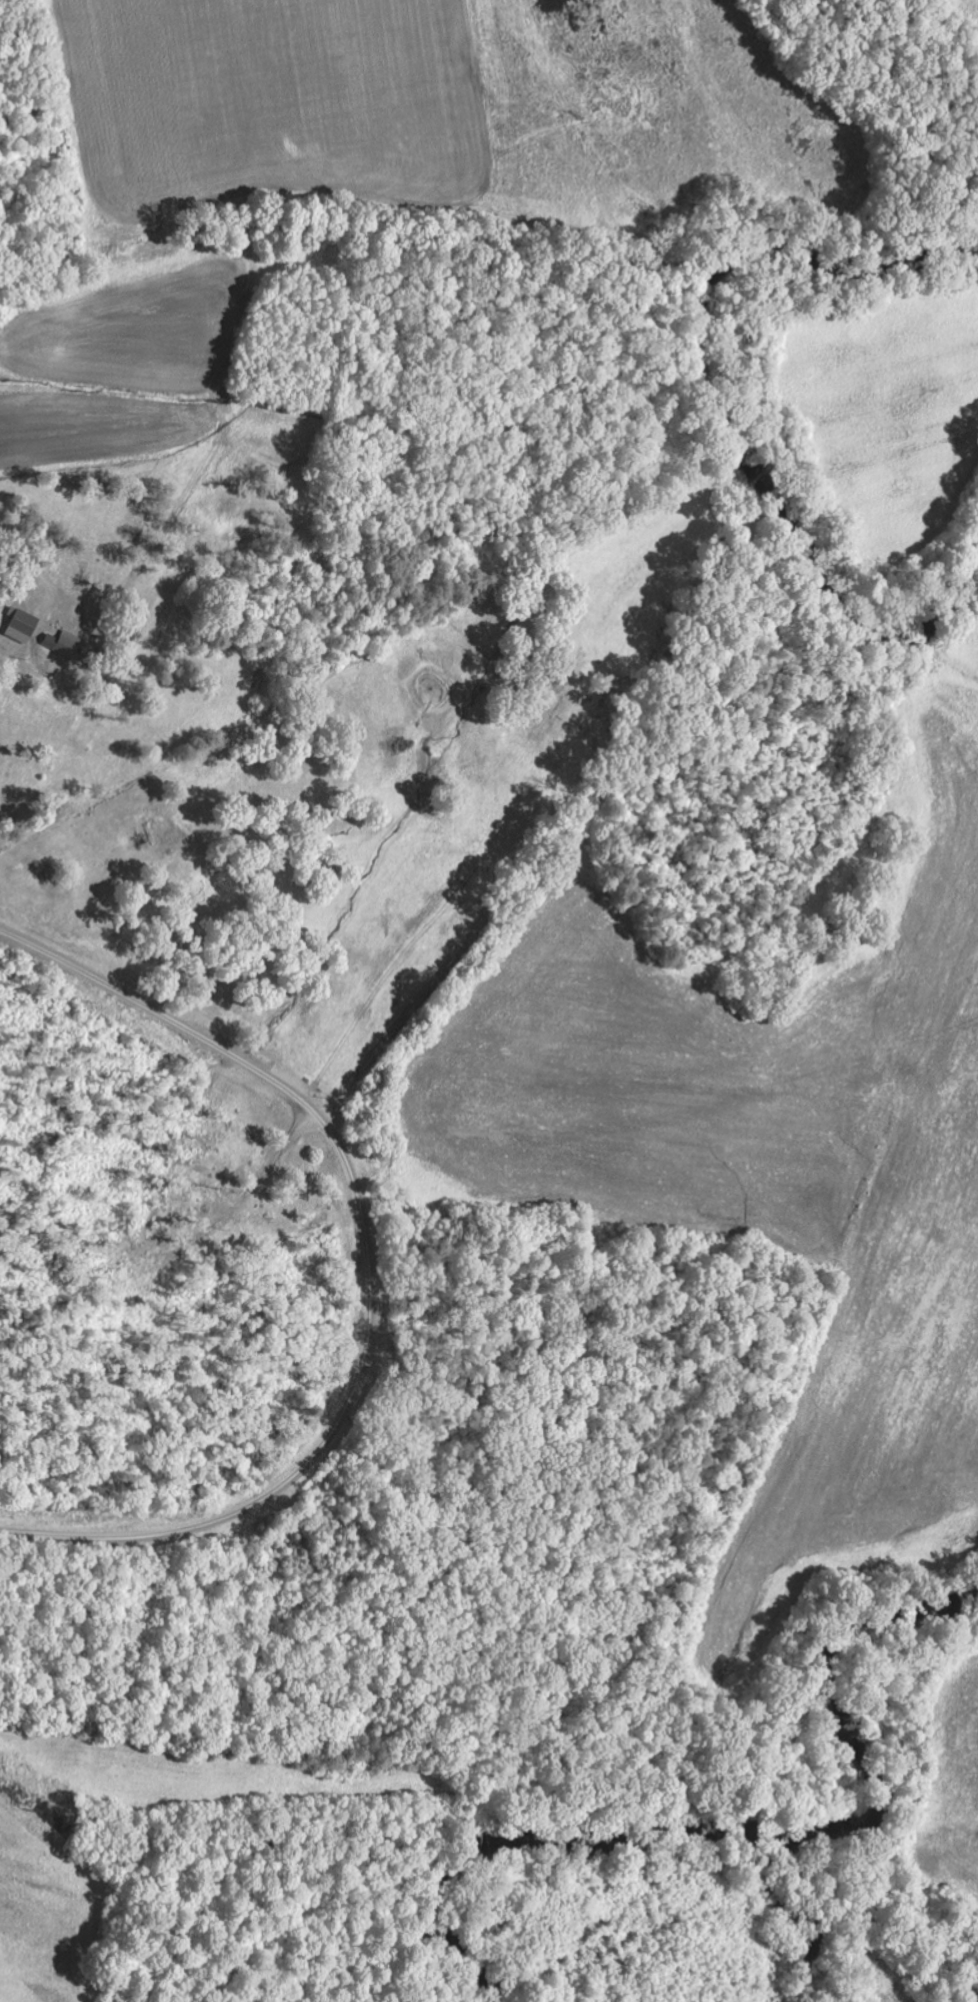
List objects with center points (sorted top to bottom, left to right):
river: (716, 418)
building: (23, 626)
road: (370, 1273)
river: (733, 1832)

